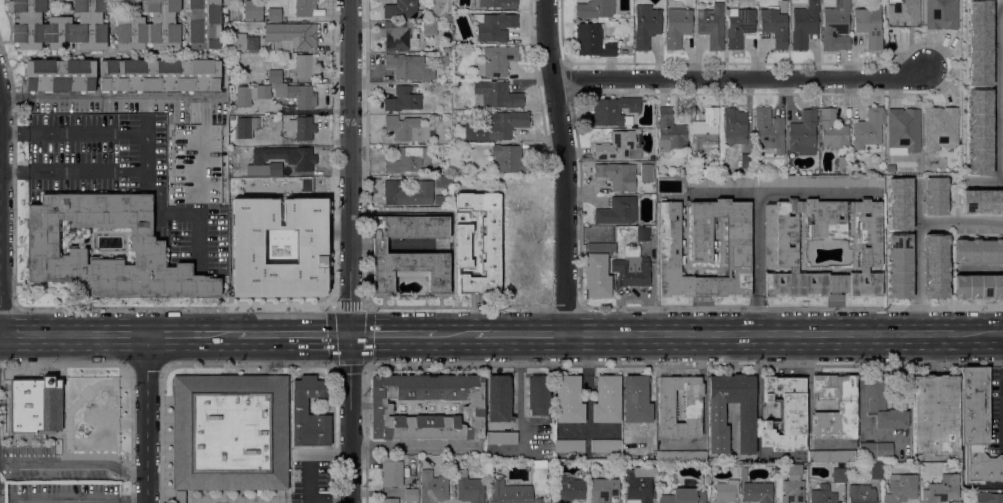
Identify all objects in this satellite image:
building: (498, 3)
building: (301, 7)
building: (253, 9)
building: (401, 9)
building: (594, 9)
building: (905, 13)
building: (942, 13)
building: (274, 14)
building: (449, 17)
building: (204, 24)
building: (804, 24)
building: (58, 25)
building: (646, 25)
building: (711, 25)
building: (869, 25)
building: (677, 26)
building: (739, 26)
building: (774, 26)
building: (836, 26)
building: (151, 27)
building: (437, 27)
building: (495, 27)
building: (292, 34)
building: (402, 35)
building: (592, 40)
building: (243, 41)
building: (979, 42)
building: (443, 49)
building: (624, 51)
building: (499, 59)
building: (442, 60)
building: (305, 65)
building: (409, 67)
building: (123, 75)
building: (274, 76)
road: (740, 78)
road: (999, 92)
building: (251, 94)
building: (497, 94)
building: (298, 95)
road: (111, 99)
building: (402, 99)
building: (612, 110)
building: (275, 123)
building: (493, 126)
building: (733, 126)
building: (943, 126)
building: (243, 127)
building: (304, 128)
building: (406, 128)
building: (832, 129)
building: (705, 130)
building: (769, 130)
building: (904, 130)
building: (669, 131)
building: (869, 131)
building: (980, 131)
road: (14, 132)
building: (803, 134)
building: (618, 146)
building: (448, 152)
road: (148, 153)
road: (367, 153)
building: (510, 159)
building: (409, 160)
building: (300, 161)
building: (747, 161)
building: (842, 162)
building: (196, 163)
road: (564, 166)
building: (646, 171)
road: (14, 173)
building: (618, 175)
parking lot: (124, 179)
building: (820, 180)
building: (442, 181)
building: (721, 181)
building: (407, 193)
building: (935, 196)
building: (439, 199)
building: (981, 200)
building: (900, 204)
building: (617, 211)
road: (183, 214)
road: (0, 218)
road: (960, 222)
building: (821, 227)
building: (643, 234)
road: (918, 240)
building: (484, 242)
building: (147, 244)
building: (277, 246)
building: (462, 246)
building: (704, 248)
road: (351, 251)
building: (978, 251)
building: (408, 253)
road: (758, 263)
building: (937, 266)
building: (631, 268)
building: (901, 268)
road: (980, 268)
building: (598, 269)
building: (793, 269)
building: (863, 269)
building: (822, 283)
building: (978, 285)
road: (333, 308)
road: (918, 319)
road: (74, 333)
road: (175, 333)
road: (0, 334)
road: (221, 334)
road: (295, 334)
road: (520, 334)
road: (783, 334)
traffic signals: (351, 335)
road: (394, 335)
road: (456, 335)
road: (1002, 335)
building: (538, 395)
building: (499, 398)
building: (568, 399)
building: (607, 399)
building: (636, 399)
building: (35, 405)
building: (883, 405)
building: (299, 406)
building: (847, 406)
building: (381, 407)
building: (666, 409)
building: (746, 413)
building: (785, 414)
building: (935, 414)
road: (146, 417)
building: (977, 427)
building: (229, 432)
road: (367, 433)
building: (501, 437)
building: (569, 445)
building: (606, 445)
road: (413, 446)
building: (876, 449)
building: (681, 456)
building: (831, 456)
building: (711, 459)
building: (651, 461)
road: (74, 465)
building: (876, 470)
building: (736, 471)
building: (795, 471)
building: (391, 473)
building: (743, 473)
building: (838, 474)
road: (308, 476)
building: (638, 484)
building: (432, 487)
building: (470, 488)
building: (901, 488)
building: (569, 489)
building: (603, 489)
building: (942, 489)
building: (725, 491)
building: (793, 491)
building: (512, 492)
building: (757, 492)
building: (862, 493)
building: (411, 494)
building: (823, 495)
building: (683, 496)
building: (179, 497)
building: (989, 497)
building: (389, 500)
road: (63, 501)
road: (132, 501)

